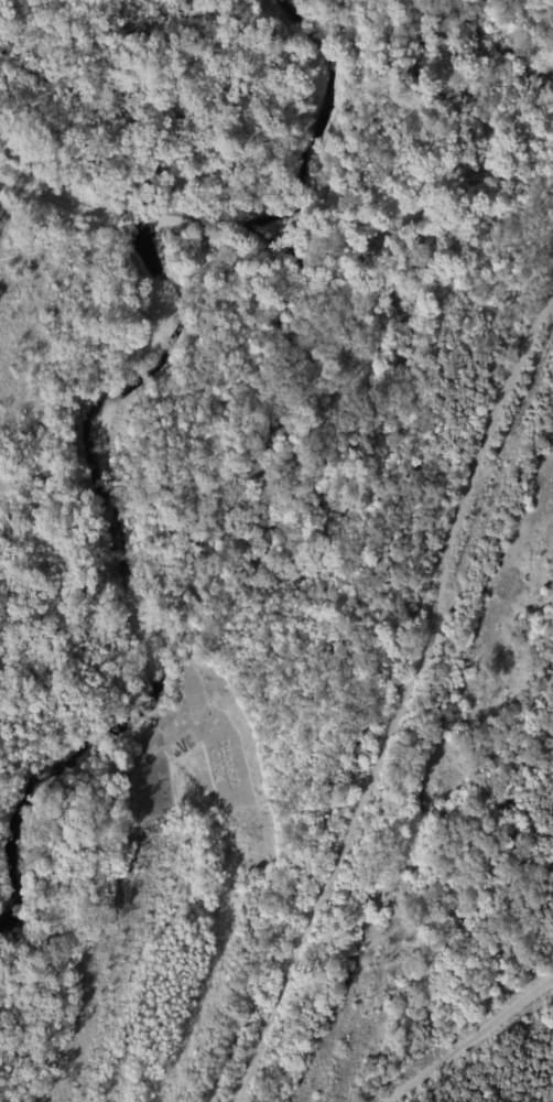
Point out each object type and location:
road: (471, 1042)

